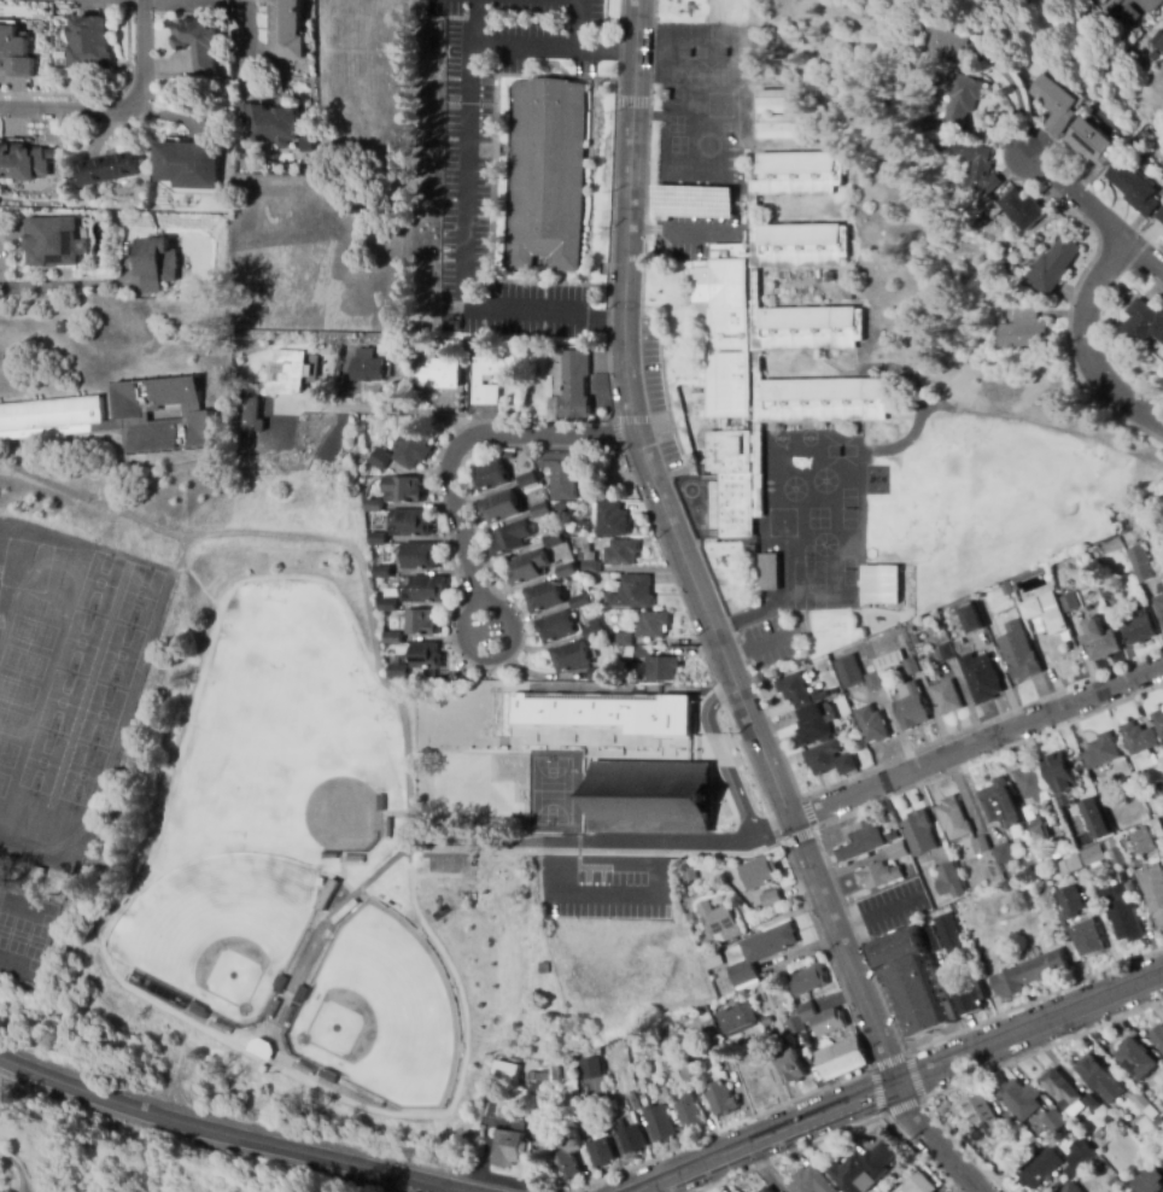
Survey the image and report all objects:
road: (217, 1)
building: (1097, 1)
building: (1128, 14)
road: (575, 24)
building: (286, 29)
building: (198, 41)
building: (1157, 41)
building: (90, 43)
building: (943, 46)
road: (553, 48)
building: (14, 53)
building: (1162, 60)
building: (666, 95)
building: (960, 100)
building: (771, 101)
road: (632, 104)
building: (1057, 104)
road: (124, 112)
building: (271, 124)
building: (775, 125)
building: (1091, 142)
building: (22, 162)
building: (187, 164)
building: (977, 168)
building: (107, 169)
building: (544, 175)
building: (1133, 188)
building: (1022, 209)
building: (993, 210)
road: (1088, 210)
building: (662, 212)
building: (1161, 216)
road: (464, 234)
building: (51, 241)
building: (156, 263)
building: (1011, 264)
building: (1053, 267)
road: (65, 281)
building: (845, 291)
building: (1144, 322)
building: (450, 326)
building: (1021, 327)
building: (773, 339)
road: (1089, 340)
building: (366, 366)
building: (287, 373)
building: (439, 373)
building: (487, 376)
building: (567, 385)
road: (388, 408)
road: (667, 409)
building: (118, 416)
building: (250, 416)
road: (660, 417)
road: (630, 419)
road: (615, 434)
road: (461, 438)
building: (411, 449)
building: (508, 456)
building: (378, 460)
building: (560, 474)
building: (490, 477)
building: (527, 479)
building: (401, 490)
building: (1138, 506)
building: (373, 507)
building: (501, 508)
building: (560, 508)
building: (540, 510)
building: (608, 519)
building: (410, 522)
building: (578, 533)
building: (510, 538)
building: (378, 539)
building: (553, 541)
building: (1126, 544)
building: (752, 550)
building: (620, 553)
building: (419, 556)
road: (683, 556)
building: (588, 562)
building: (1139, 565)
building: (526, 567)
building: (566, 572)
building: (768, 572)
building: (382, 573)
building: (879, 584)
building: (1105, 589)
building: (427, 590)
building: (632, 594)
building: (543, 597)
building: (578, 602)
building: (1070, 603)
road: (489, 604)
building: (1041, 604)
building: (1159, 604)
building: (388, 606)
building: (971, 618)
building: (419, 623)
building: (651, 625)
building: (555, 627)
building: (910, 629)
building: (591, 631)
building: (1138, 631)
building: (980, 635)
building: (393, 639)
building: (621, 639)
building: (914, 641)
building: (1099, 641)
road: (758, 644)
building: (962, 645)
building: (946, 651)
building: (1019, 653)
building: (425, 656)
building: (571, 658)
road: (460, 660)
building: (896, 664)
building: (658, 666)
building: (398, 672)
building: (848, 672)
building: (598, 676)
building: (872, 679)
building: (983, 682)
building: (796, 691)
building: (946, 697)
road: (711, 706)
building: (911, 707)
building: (602, 714)
building: (816, 724)
building: (1158, 724)
building: (873, 729)
building: (1139, 740)
road: (976, 741)
building: (1100, 752)
road: (987, 756)
building: (829, 760)
building: (1059, 772)
building: (1082, 782)
building: (1028, 783)
building: (1158, 788)
building: (1111, 791)
building: (650, 796)
building: (999, 804)
park: (337, 810)
road: (805, 813)
building: (953, 819)
building: (1098, 822)
building: (1030, 825)
road: (772, 828)
building: (1157, 829)
building: (917, 834)
building: (1140, 834)
road: (795, 835)
building: (890, 836)
building: (861, 841)
road: (709, 845)
building: (1144, 845)
building: (980, 846)
building: (898, 851)
building: (1003, 854)
building: (1101, 854)
building: (1136, 864)
park: (287, 865)
building: (1069, 866)
building: (689, 873)
building: (759, 873)
building: (878, 876)
building: (949, 882)
building: (1152, 892)
building: (771, 899)
building: (1070, 902)
building: (1118, 911)
building: (719, 923)
building: (947, 931)
road: (863, 939)
building: (1087, 939)
building: (760, 952)
road: (825, 956)
building: (1003, 958)
building: (712, 960)
park: (222, 962)
building: (543, 969)
building: (1029, 975)
building: (913, 977)
building: (808, 981)
road: (1033, 999)
building: (971, 1000)
building: (736, 1018)
building: (822, 1019)
building: (766, 1021)
park: (325, 1024)
building: (794, 1026)
building: (676, 1039)
building: (1158, 1039)
building: (720, 1042)
building: (261, 1047)
road: (1042, 1048)
building: (720, 1054)
building: (838, 1058)
building: (1138, 1059)
building: (790, 1065)
building: (684, 1069)
building: (591, 1070)
building: (504, 1071)
building: (556, 1073)
building: (1099, 1079)
road: (899, 1080)
building: (1159, 1080)
building: (1060, 1087)
building: (661, 1091)
building: (1021, 1099)
building: (721, 1100)
road: (917, 1100)
building: (1089, 1102)
building: (1141, 1102)
building: (632, 1104)
building: (1152, 1112)
building: (689, 1114)
building: (539, 1117)
building: (986, 1117)
building: (1126, 1121)
building: (1053, 1122)
building: (1157, 1122)
building: (659, 1123)
building: (606, 1128)
road: (220, 1130)
building: (1101, 1132)
building: (630, 1139)
road: (933, 1140)
building: (1035, 1146)
building: (508, 1149)
building: (600, 1152)
building: (565, 1155)
building: (1079, 1157)
building: (1099, 1161)
road: (17, 1168)
building: (861, 1169)
building: (1041, 1169)
building: (1151, 1179)
road: (358, 1180)
building: (810, 1181)
building: (919, 1185)
building: (1070, 1188)
building: (767, 1190)

